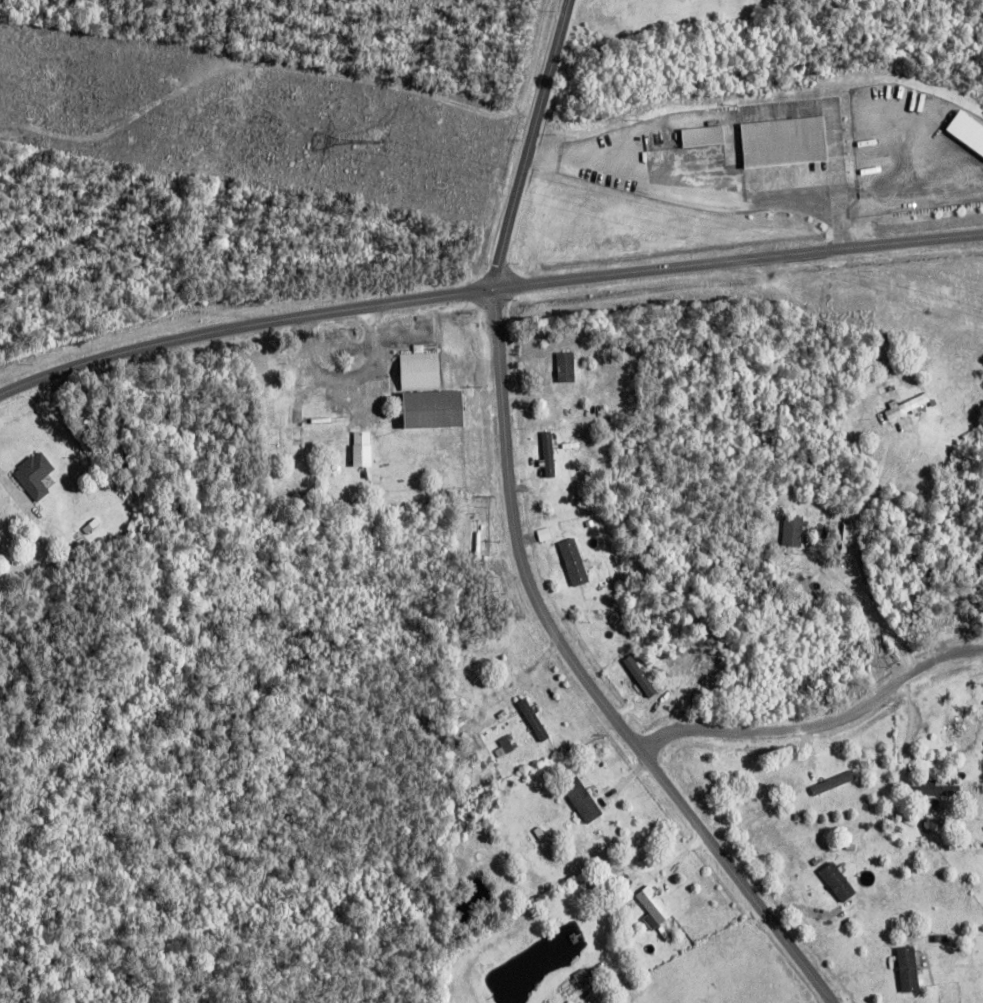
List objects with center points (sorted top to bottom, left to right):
building: (969, 129)
building: (707, 135)
building: (789, 141)
power tower: (386, 143)
road: (529, 143)
road: (486, 290)
building: (424, 367)
building: (566, 369)
building: (438, 409)
building: (907, 409)
building: (327, 421)
building: (848, 425)
building: (363, 431)
building: (550, 450)
building: (363, 460)
building: (380, 465)
building: (38, 474)
building: (591, 522)
building: (793, 528)
building: (545, 533)
building: (479, 541)
building: (575, 559)
road: (585, 678)
building: (534, 716)
road: (820, 725)
building: (510, 742)
building: (834, 780)
building: (936, 787)
building: (582, 796)
building: (492, 799)
building: (799, 815)
building: (932, 820)
building: (540, 831)
building: (838, 879)
building: (619, 895)
building: (652, 902)
building: (941, 938)
building: (910, 966)

